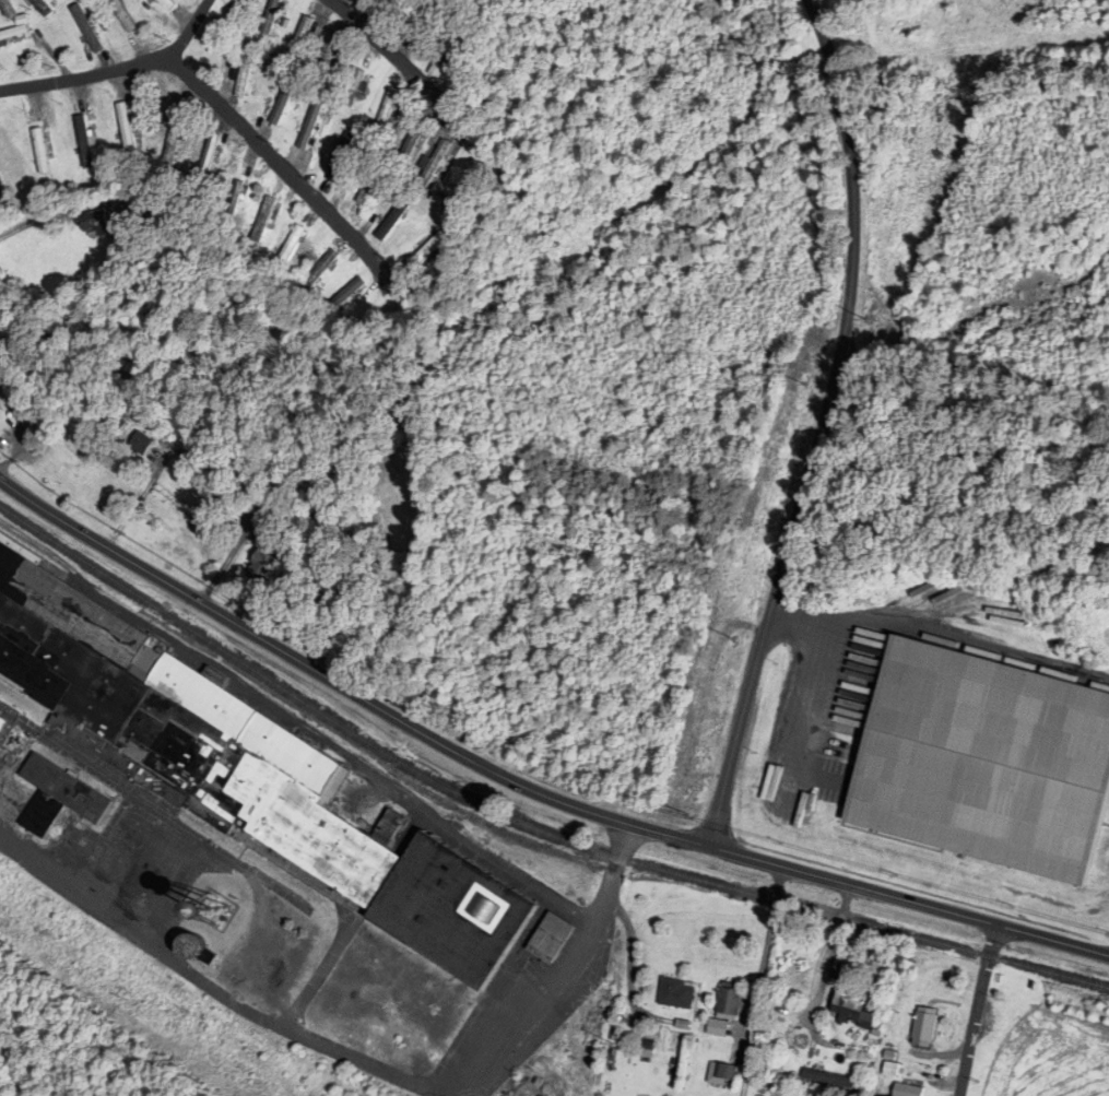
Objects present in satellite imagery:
building: (893, 0)
building: (167, 2)
building: (40, 8)
building: (7, 10)
building: (236, 10)
building: (394, 10)
building: (121, 15)
building: (270, 16)
building: (86, 31)
building: (15, 32)
building: (299, 39)
building: (444, 49)
road: (387, 57)
building: (228, 58)
building: (326, 58)
road: (118, 71)
building: (245, 72)
building: (283, 102)
building: (386, 113)
building: (310, 125)
building: (126, 129)
building: (413, 140)
building: (173, 142)
building: (84, 143)
building: (40, 152)
building: (340, 158)
building: (207, 162)
road: (276, 165)
building: (433, 165)
building: (369, 185)
building: (262, 221)
building: (391, 223)
building: (94, 225)
building: (288, 249)
building: (426, 251)
building: (345, 296)
building: (114, 424)
road: (819, 424)
building: (140, 445)
building: (76, 456)
building: (261, 568)
railway: (92, 579)
building: (0, 726)
building: (984, 764)
building: (240, 770)
road: (526, 785)
building: (57, 800)
railway: (521, 822)
railway: (552, 846)
building: (552, 936)
road: (830, 954)
road: (758, 979)
building: (676, 993)
building: (729, 1001)
building: (852, 1011)
road: (977, 1011)
building: (924, 1028)
road: (356, 1061)
building: (727, 1069)
building: (889, 1070)
building: (831, 1080)
building: (907, 1091)

